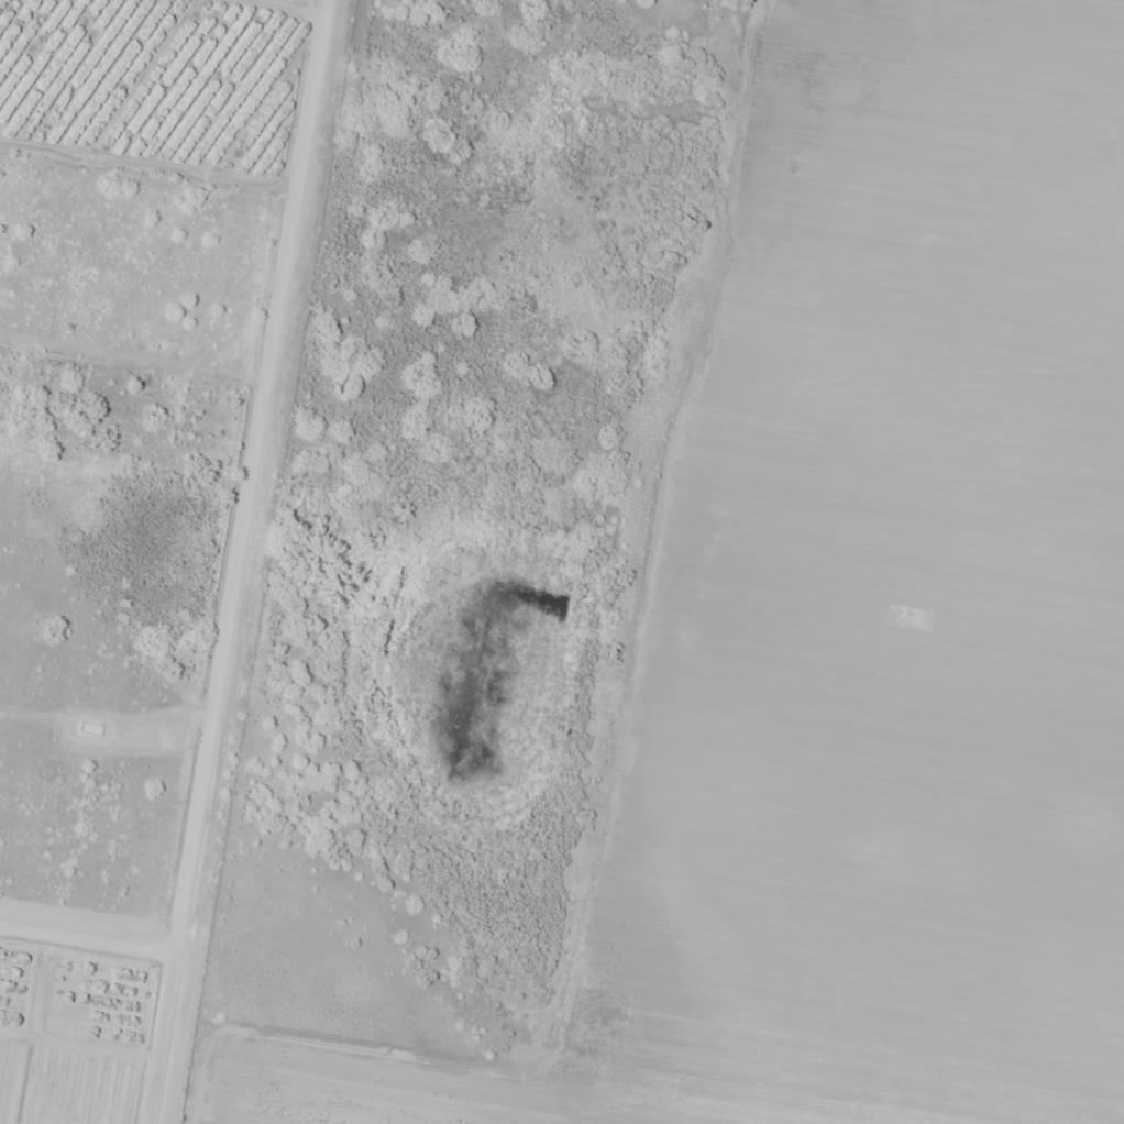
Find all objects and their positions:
road: (232, 562)
road: (79, 946)

